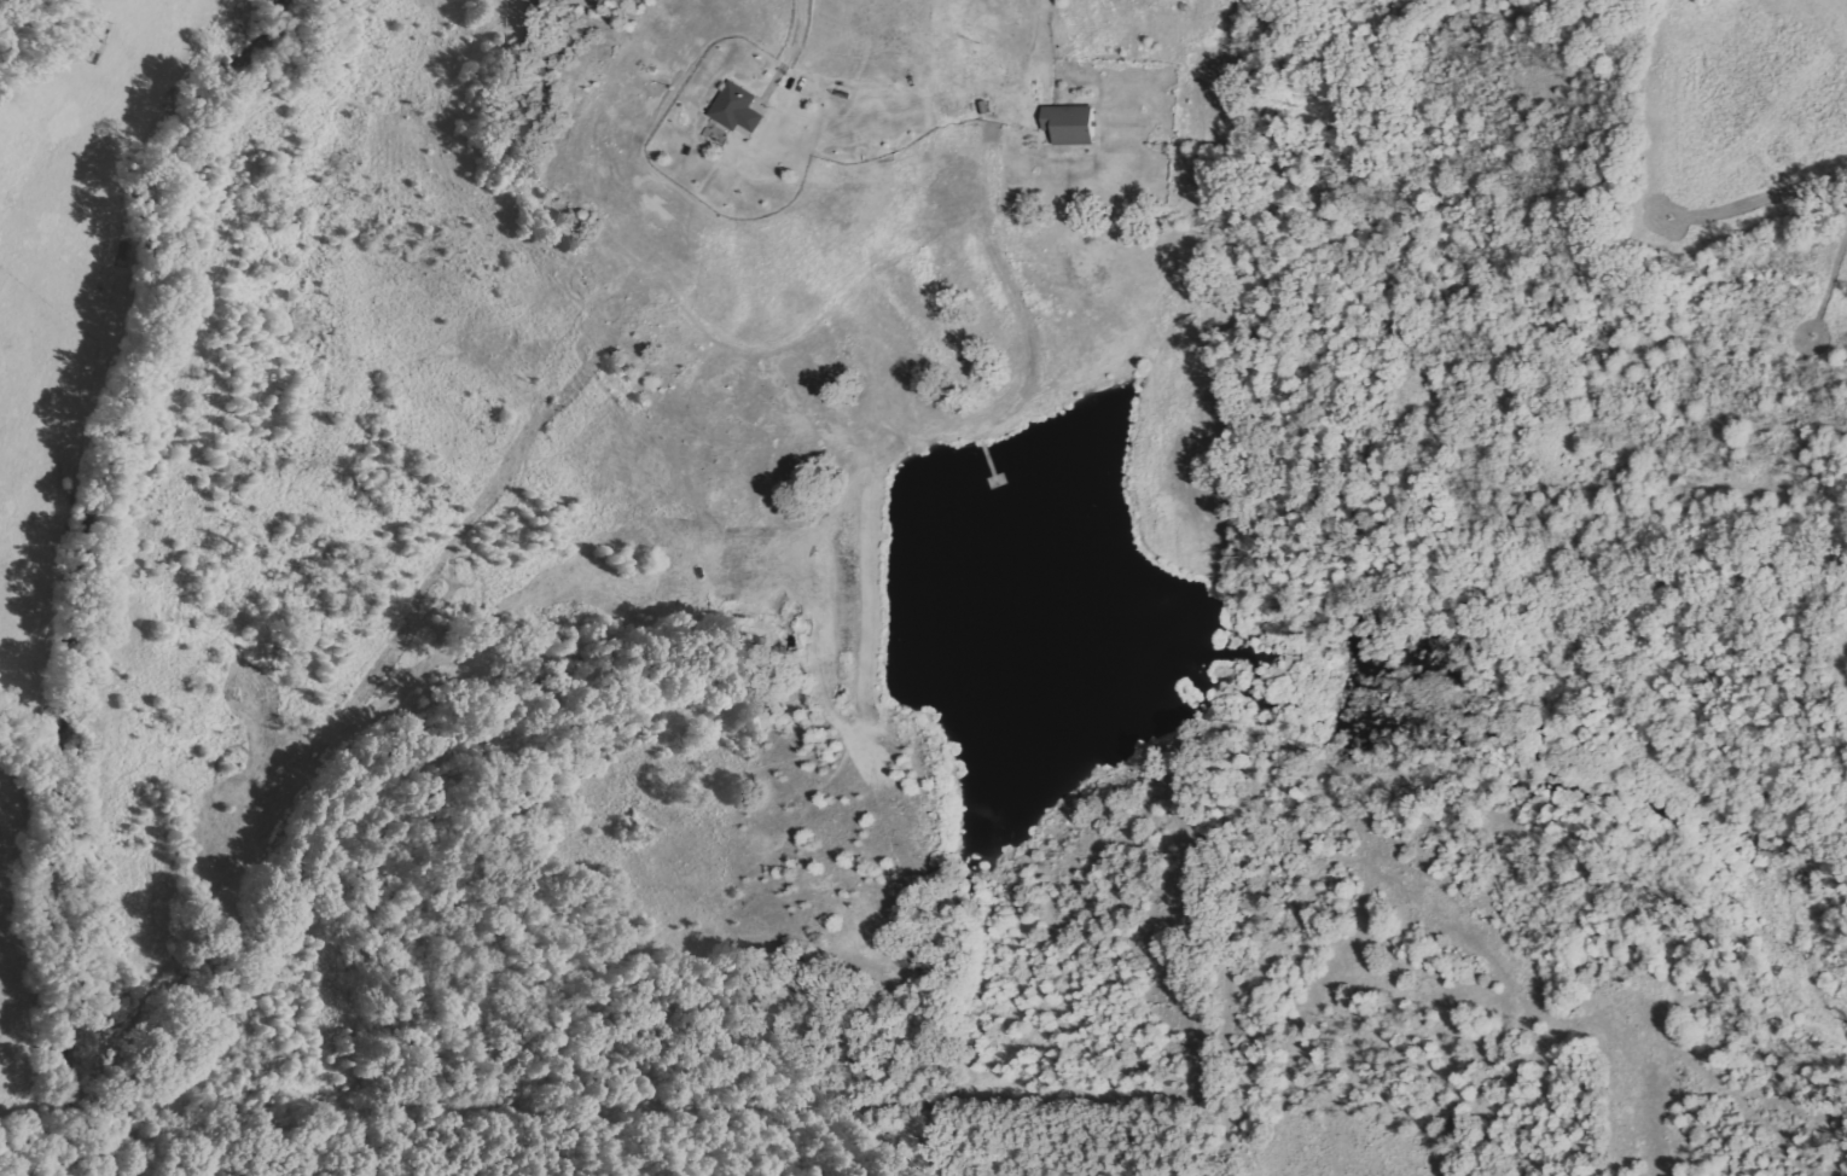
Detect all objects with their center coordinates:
building: (740, 109)
building: (1078, 124)

